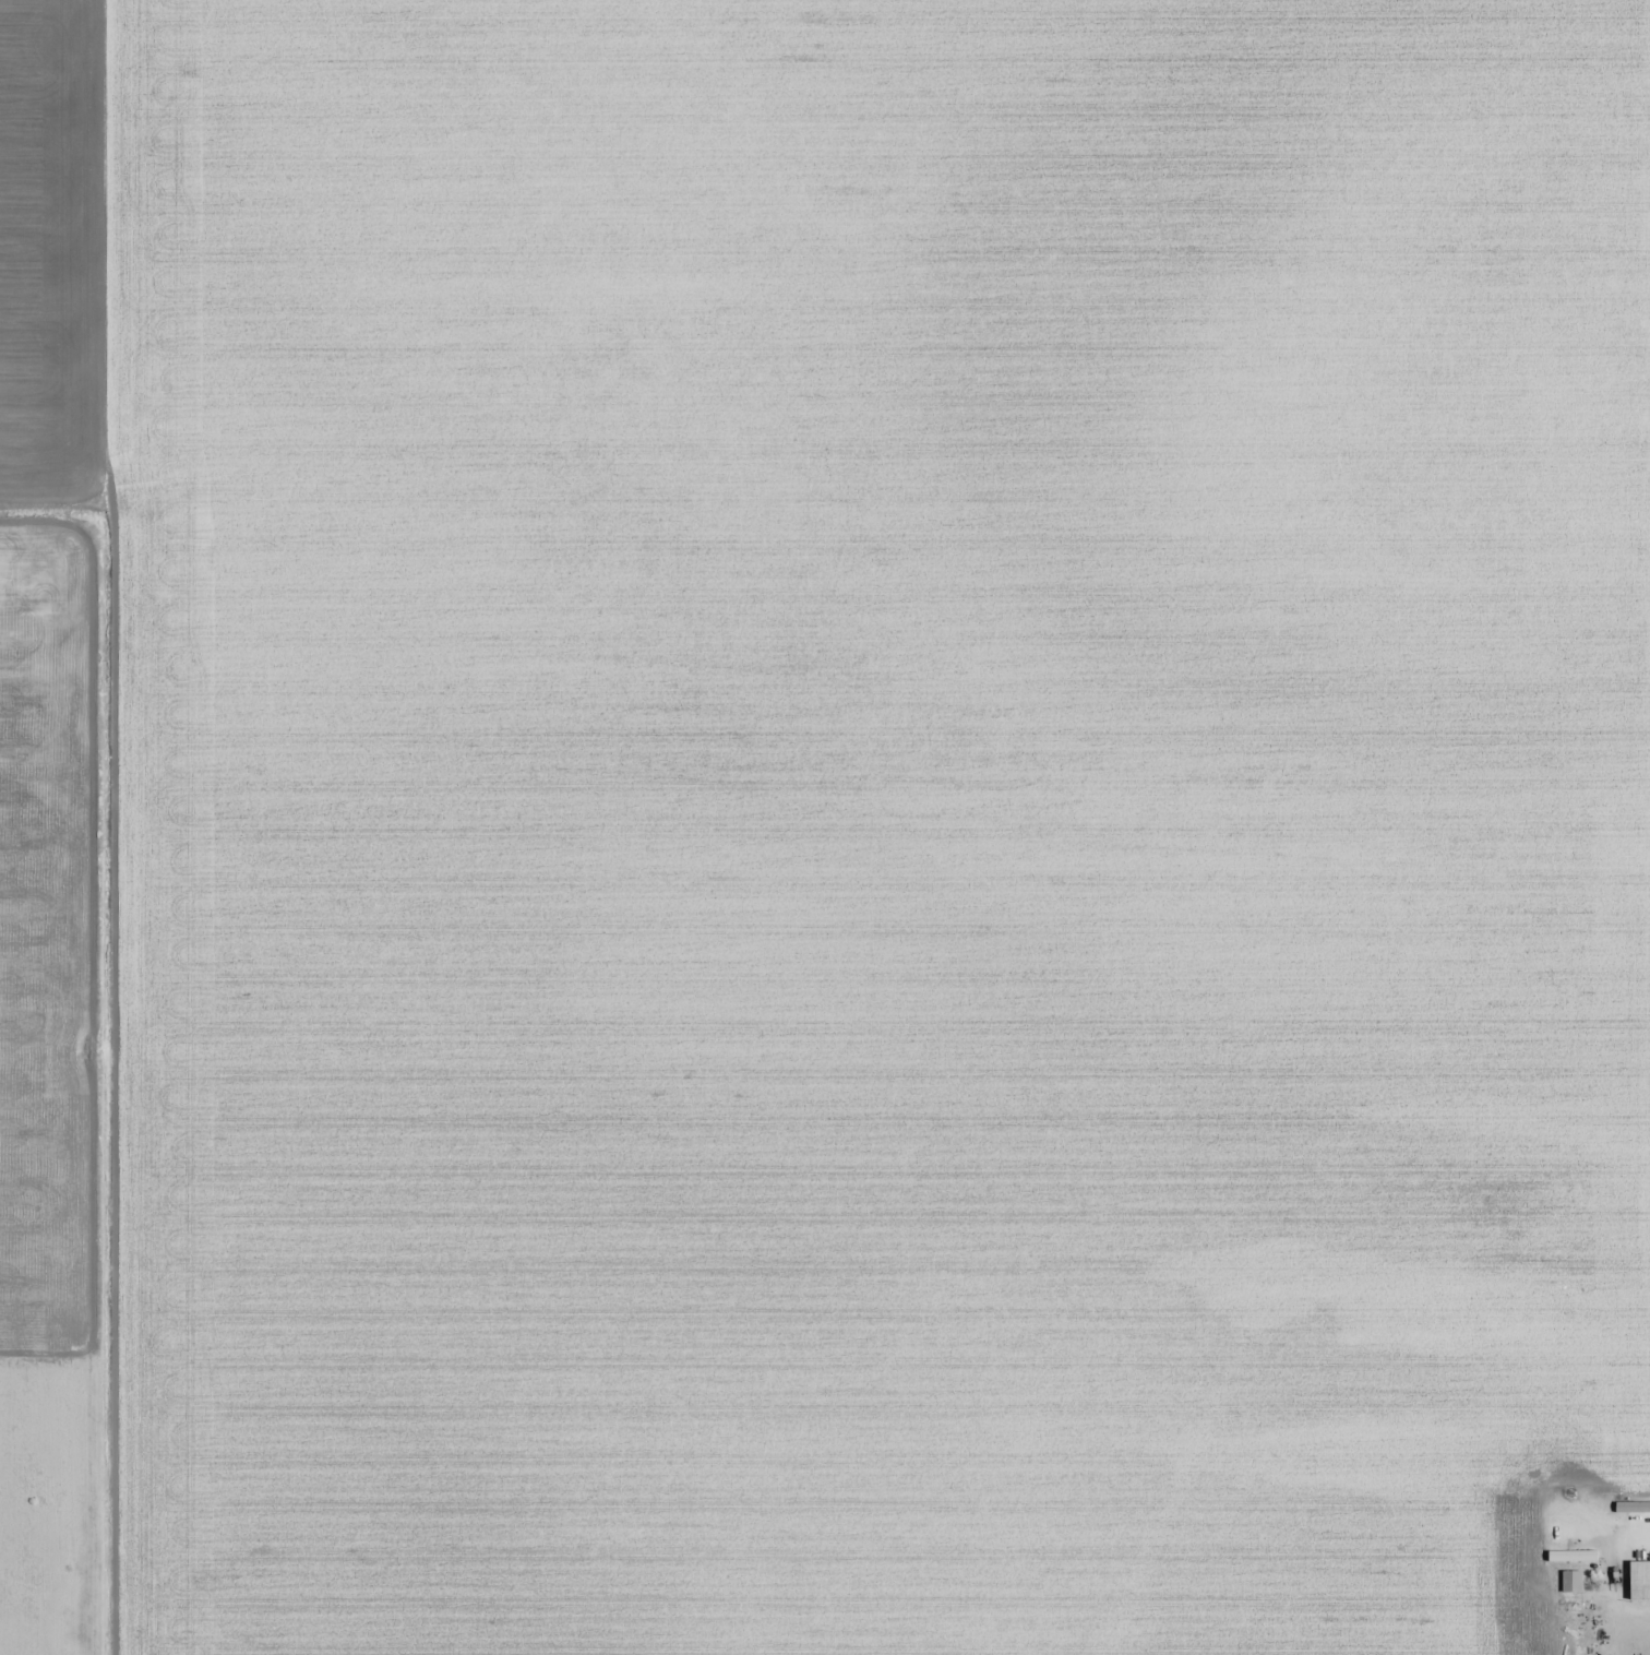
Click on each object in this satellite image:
building: (1640, 1580)
building: (1573, 1582)

